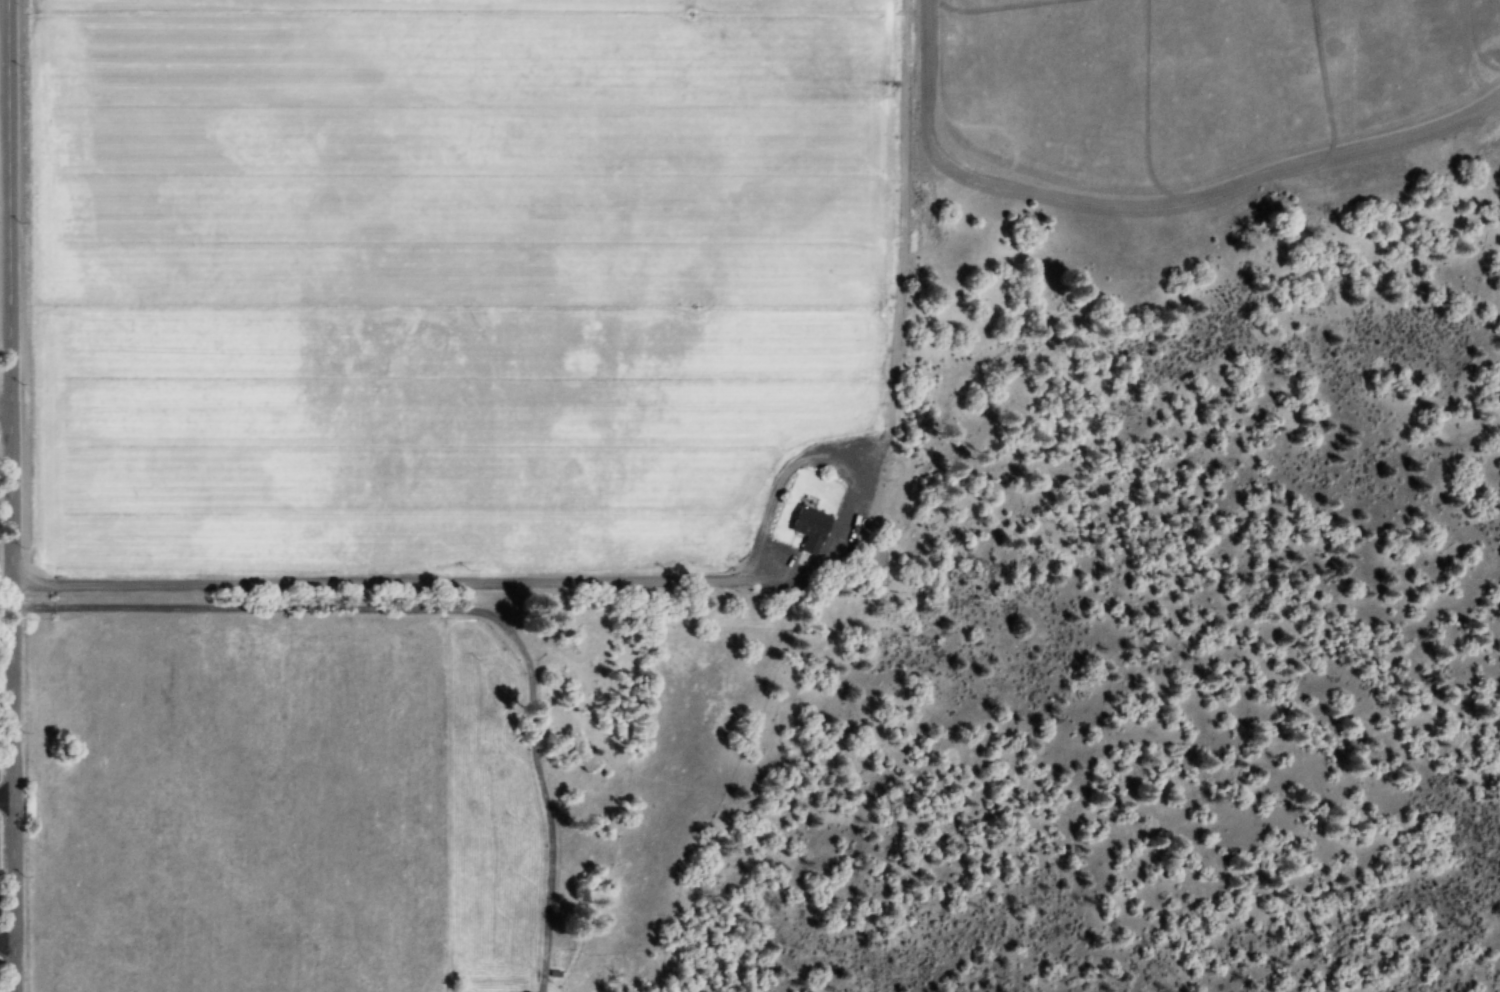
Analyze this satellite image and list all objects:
road: (13, 495)
building: (808, 529)
road: (403, 598)

